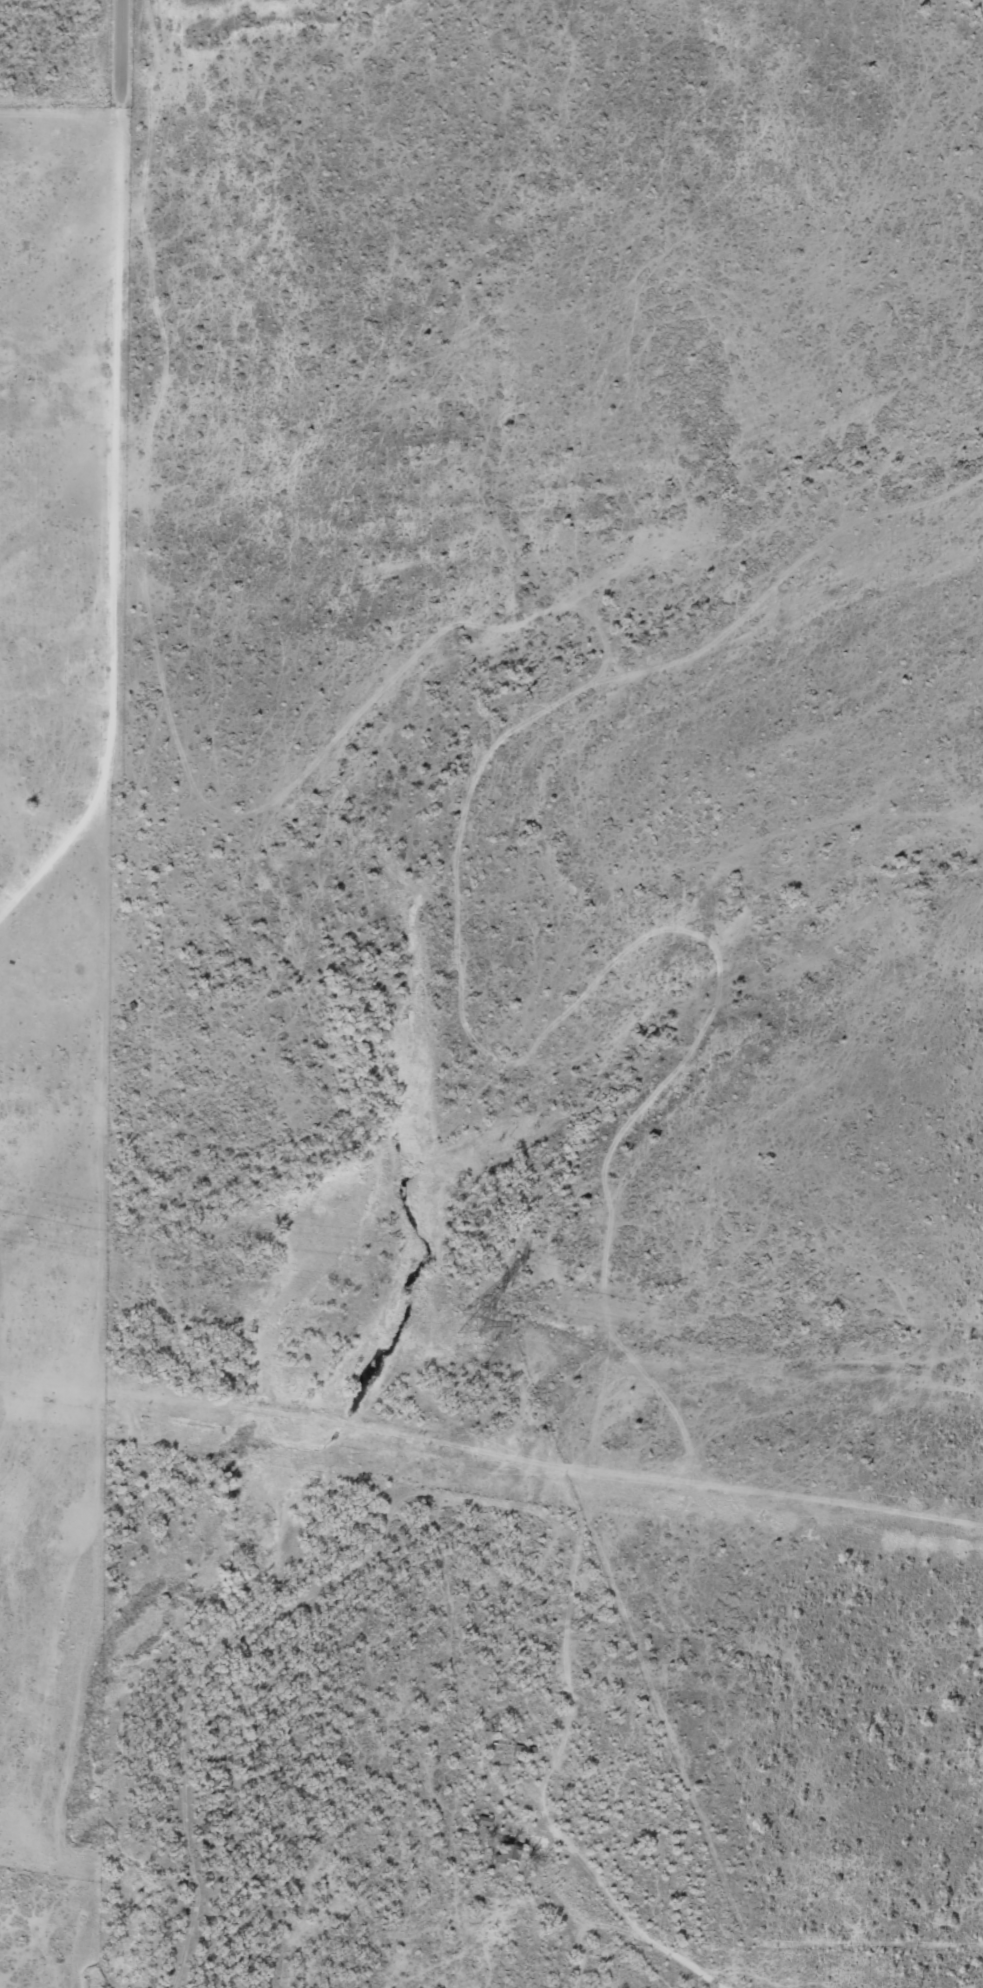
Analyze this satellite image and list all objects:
road: (115, 199)
road: (712, 907)
power tower: (470, 1325)
road: (658, 1928)

